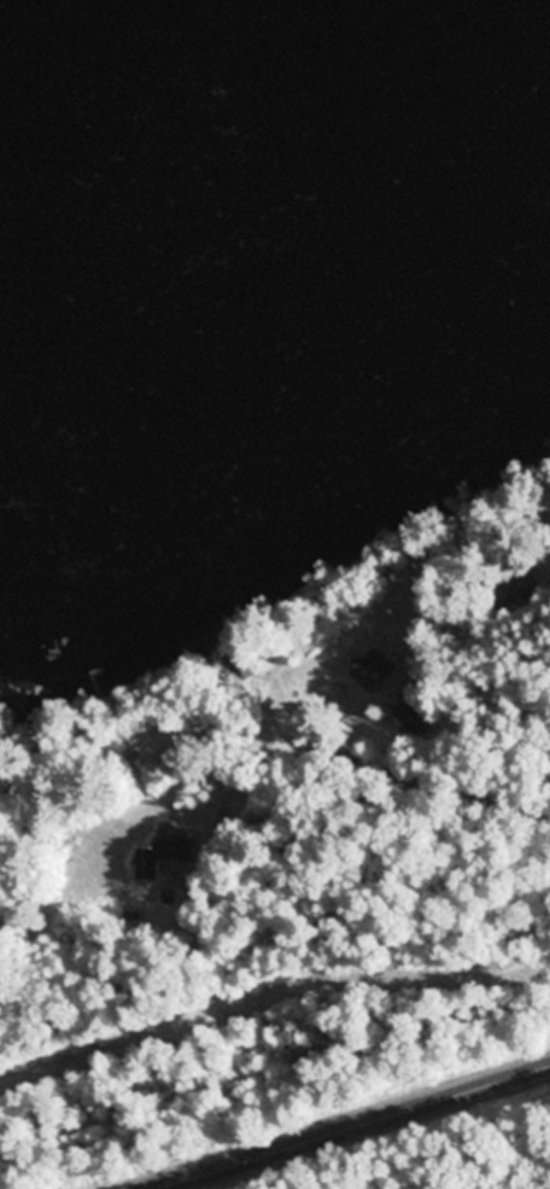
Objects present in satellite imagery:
road: (486, 610)
road: (397, 716)
road: (341, 1125)

